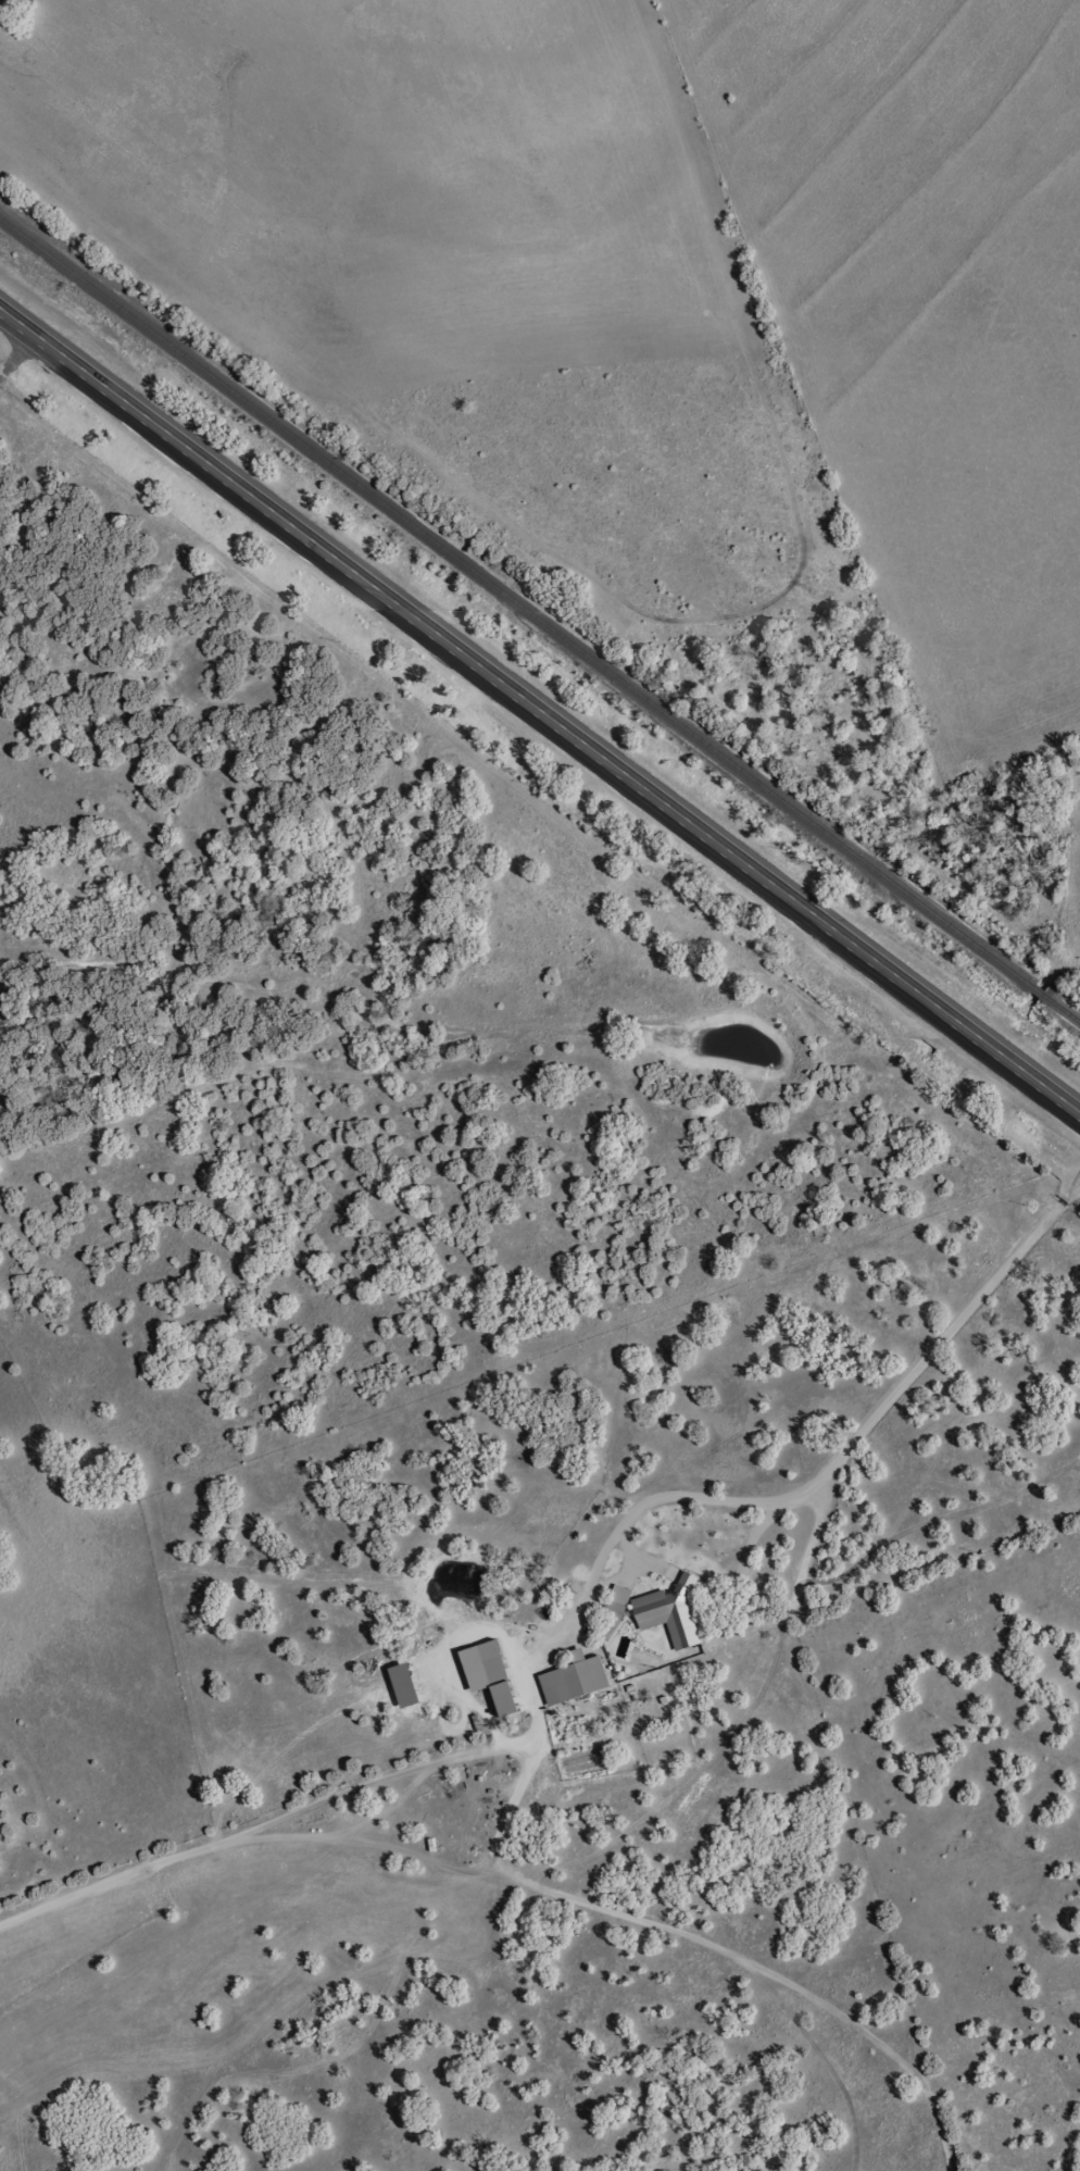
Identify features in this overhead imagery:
railway: (540, 621)
road: (540, 709)
building: (615, 1610)
building: (669, 1613)
building: (573, 1681)

